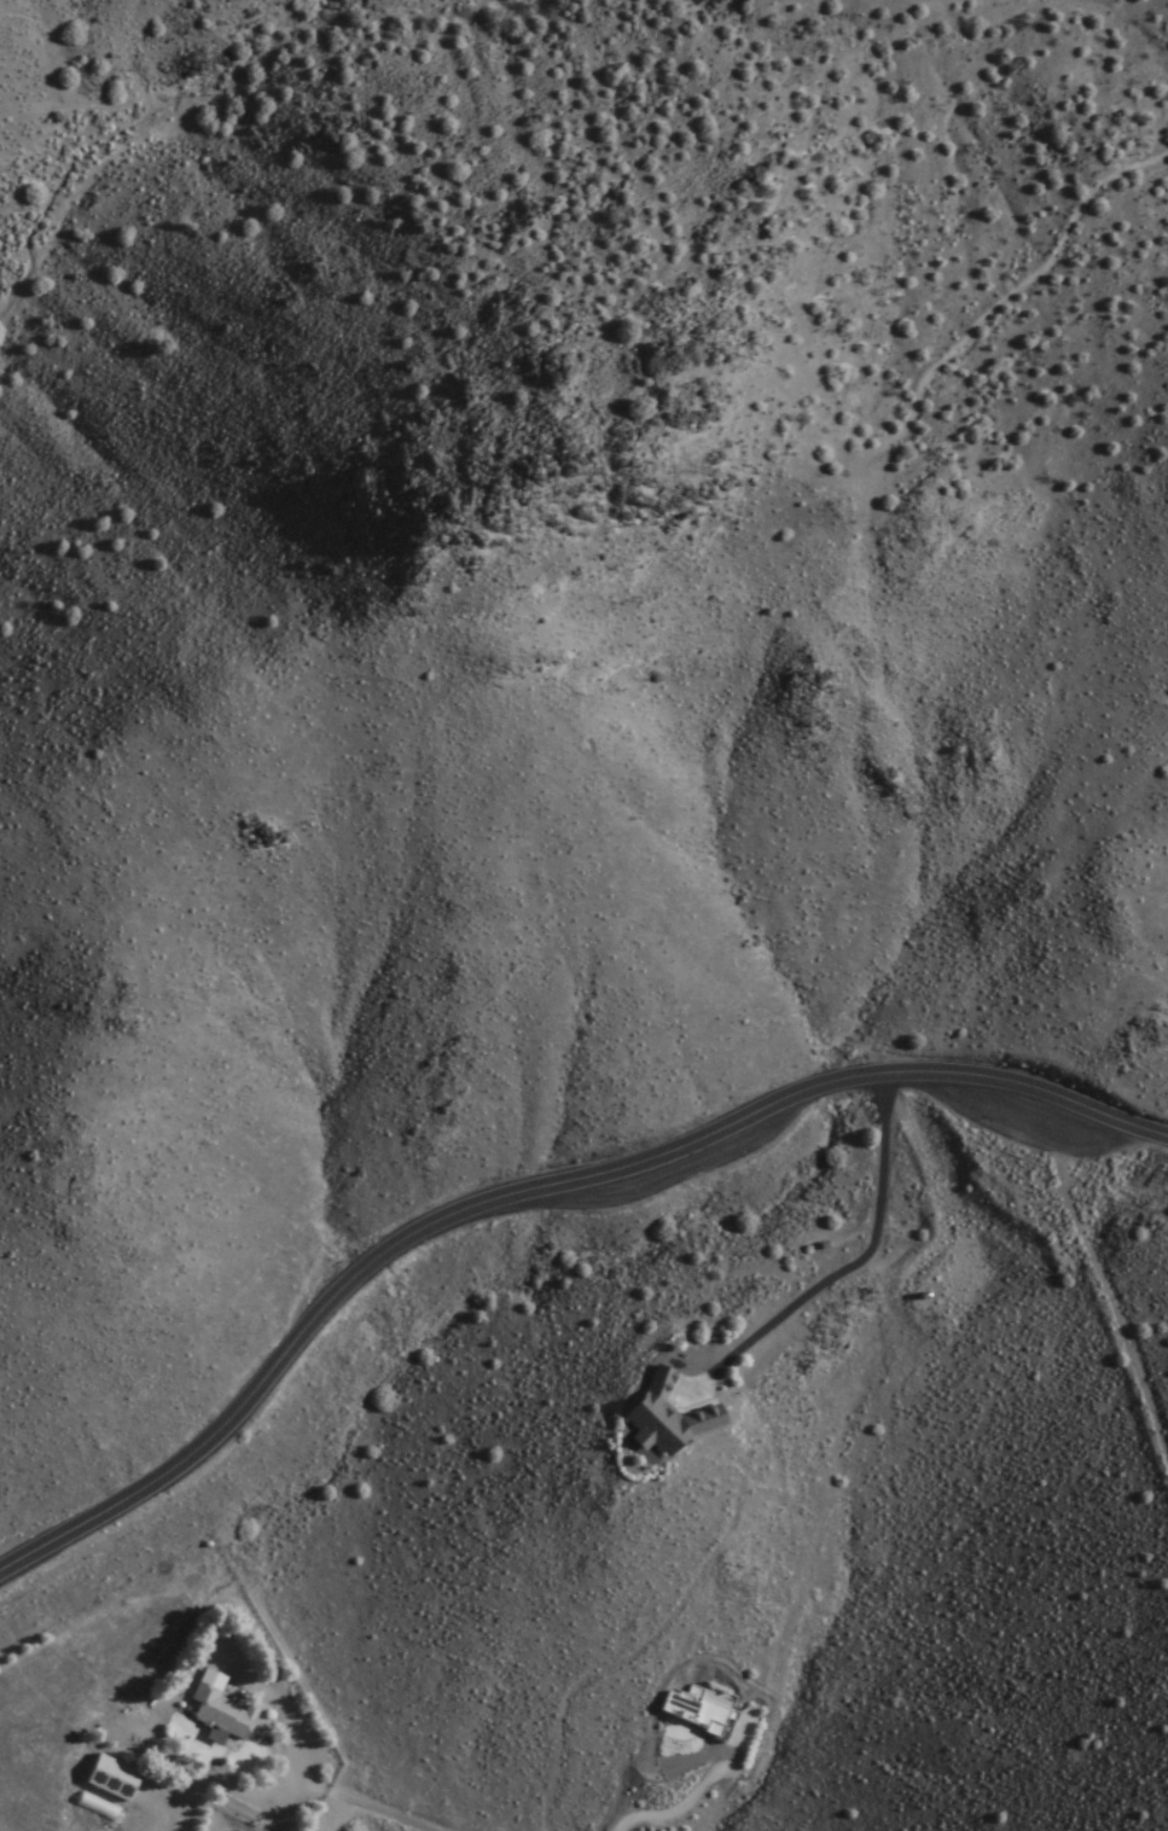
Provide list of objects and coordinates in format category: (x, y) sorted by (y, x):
road: (527, 1192)
building: (669, 1418)
road: (7, 1568)
building: (698, 1710)
building: (228, 1715)
building: (115, 1778)

